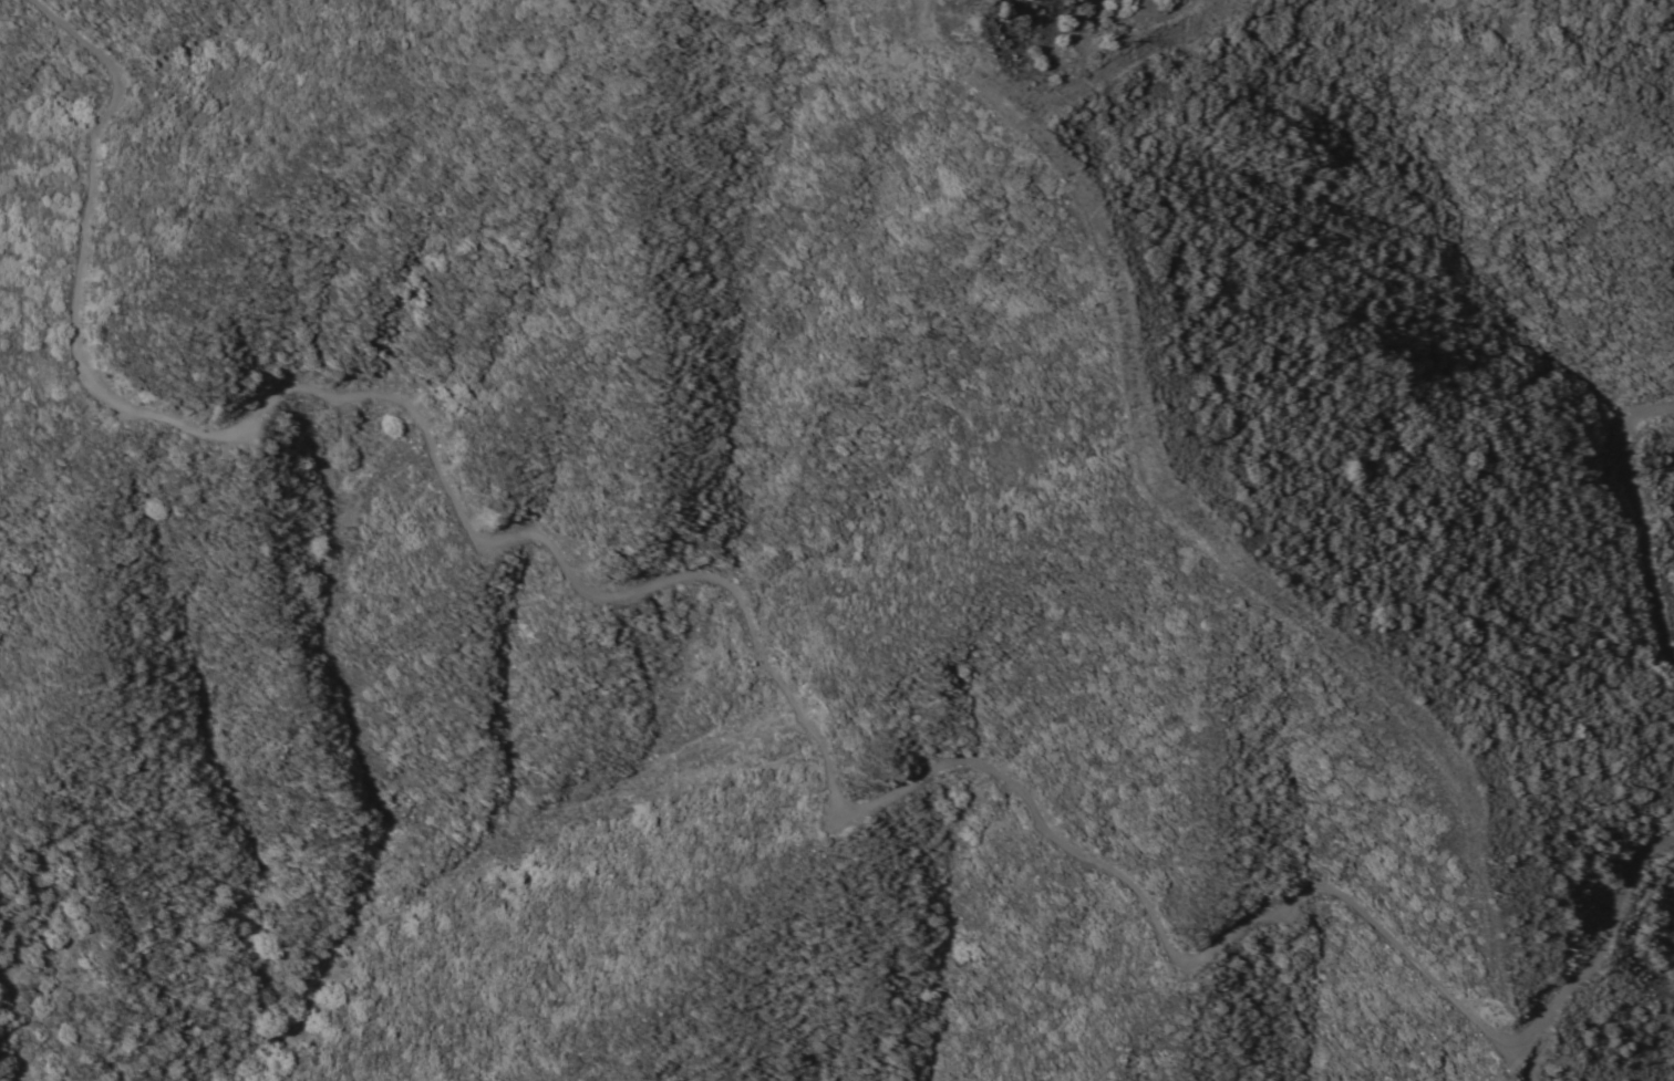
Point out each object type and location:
road: (1061, 93)
road: (1640, 510)
road: (757, 644)
road: (1488, 1056)

